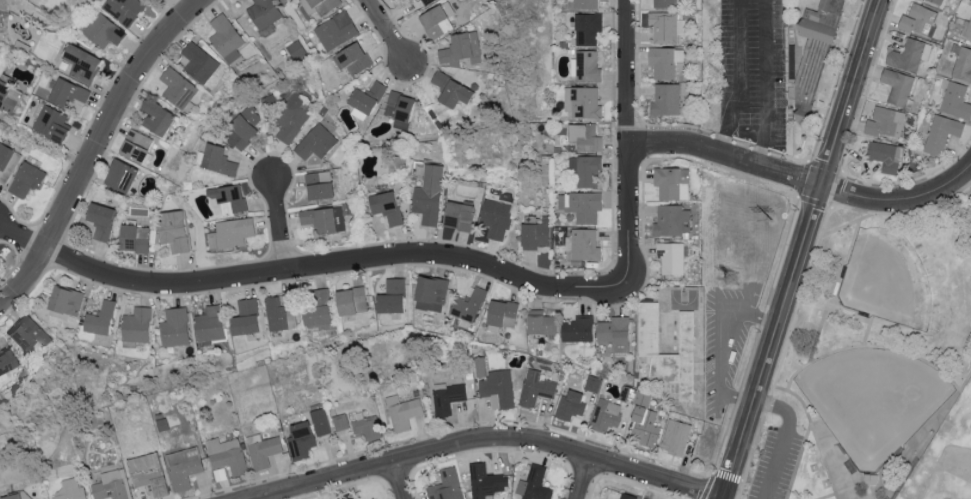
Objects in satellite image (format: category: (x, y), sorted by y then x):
building: (936, 1)
building: (663, 3)
building: (583, 4)
building: (320, 5)
building: (122, 9)
building: (263, 12)
building: (918, 19)
building: (434, 21)
building: (665, 25)
building: (587, 27)
building: (965, 28)
building: (336, 29)
building: (103, 30)
road: (388, 33)
building: (225, 37)
building: (460, 47)
building: (295, 49)
building: (816, 53)
building: (909, 54)
building: (351, 57)
building: (664, 60)
building: (961, 61)
building: (80, 62)
building: (199, 63)
building: (586, 64)
parking lot: (754, 71)
road: (627, 74)
road: (735, 78)
road: (765, 84)
building: (897, 85)
building: (177, 87)
building: (449, 89)
building: (66, 91)
building: (8, 96)
building: (365, 96)
building: (665, 98)
building: (956, 100)
building: (582, 101)
building: (156, 116)
building: (291, 118)
building: (885, 121)
building: (50, 123)
building: (243, 127)
building: (941, 132)
building: (587, 137)
building: (315, 141)
road: (46, 143)
building: (135, 146)
road: (97, 150)
road: (725, 155)
building: (884, 155)
building: (218, 159)
building: (7, 161)
building: (584, 168)
building: (119, 175)
building: (25, 179)
building: (671, 182)
building: (318, 184)
building: (428, 194)
road: (898, 201)
building: (581, 204)
building: (385, 206)
building: (457, 215)
building: (495, 217)
road: (951, 217)
building: (100, 219)
building: (671, 219)
power tower: (774, 221)
road: (280, 225)
building: (173, 229)
building: (230, 232)
road: (834, 232)
building: (534, 235)
building: (134, 237)
building: (581, 244)
road: (799, 248)
building: (670, 257)
road: (375, 261)
road: (838, 277)
power tower: (731, 279)
park: (887, 280)
building: (430, 293)
building: (390, 296)
park: (683, 297)
building: (64, 300)
building: (350, 300)
building: (467, 304)
building: (316, 307)
building: (279, 313)
building: (501, 313)
building: (244, 317)
road: (862, 317)
building: (99, 318)
building: (539, 322)
building: (208, 323)
building: (135, 324)
building: (174, 326)
building: (576, 328)
building: (26, 332)
building: (614, 332)
road: (724, 343)
parking lot: (725, 344)
building: (667, 346)
road: (857, 347)
building: (5, 361)
park: (877, 365)
building: (479, 366)
road: (966, 382)
building: (498, 387)
building: (535, 387)
building: (447, 396)
park: (874, 401)
building: (569, 404)
road: (804, 404)
building: (403, 411)
building: (605, 414)
building: (320, 421)
building: (340, 421)
building: (366, 426)
building: (675, 436)
road: (786, 437)
building: (299, 439)
road: (491, 439)
road: (902, 449)
building: (263, 451)
building: (226, 454)
park: (945, 459)
building: (143, 463)
parking lot: (777, 465)
building: (183, 466)
road: (585, 479)
road: (401, 480)
building: (484, 481)
building: (534, 484)
building: (111, 485)
building: (158, 485)
building: (446, 485)
building: (69, 490)
building: (16, 495)
building: (348, 496)
building: (626, 496)
road: (830, 497)
building: (332, 498)
building: (601, 498)
building: (643, 498)

